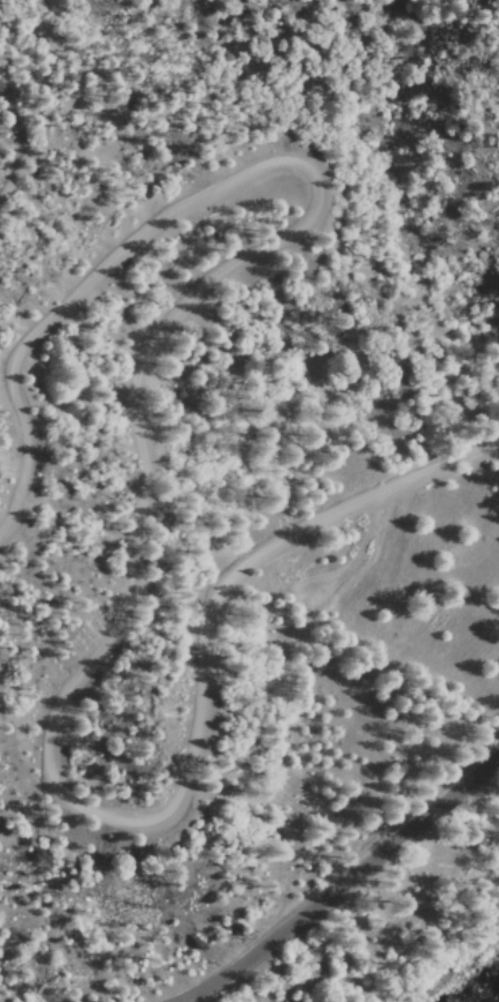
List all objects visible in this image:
road: (141, 506)
road: (333, 884)
river: (483, 989)

